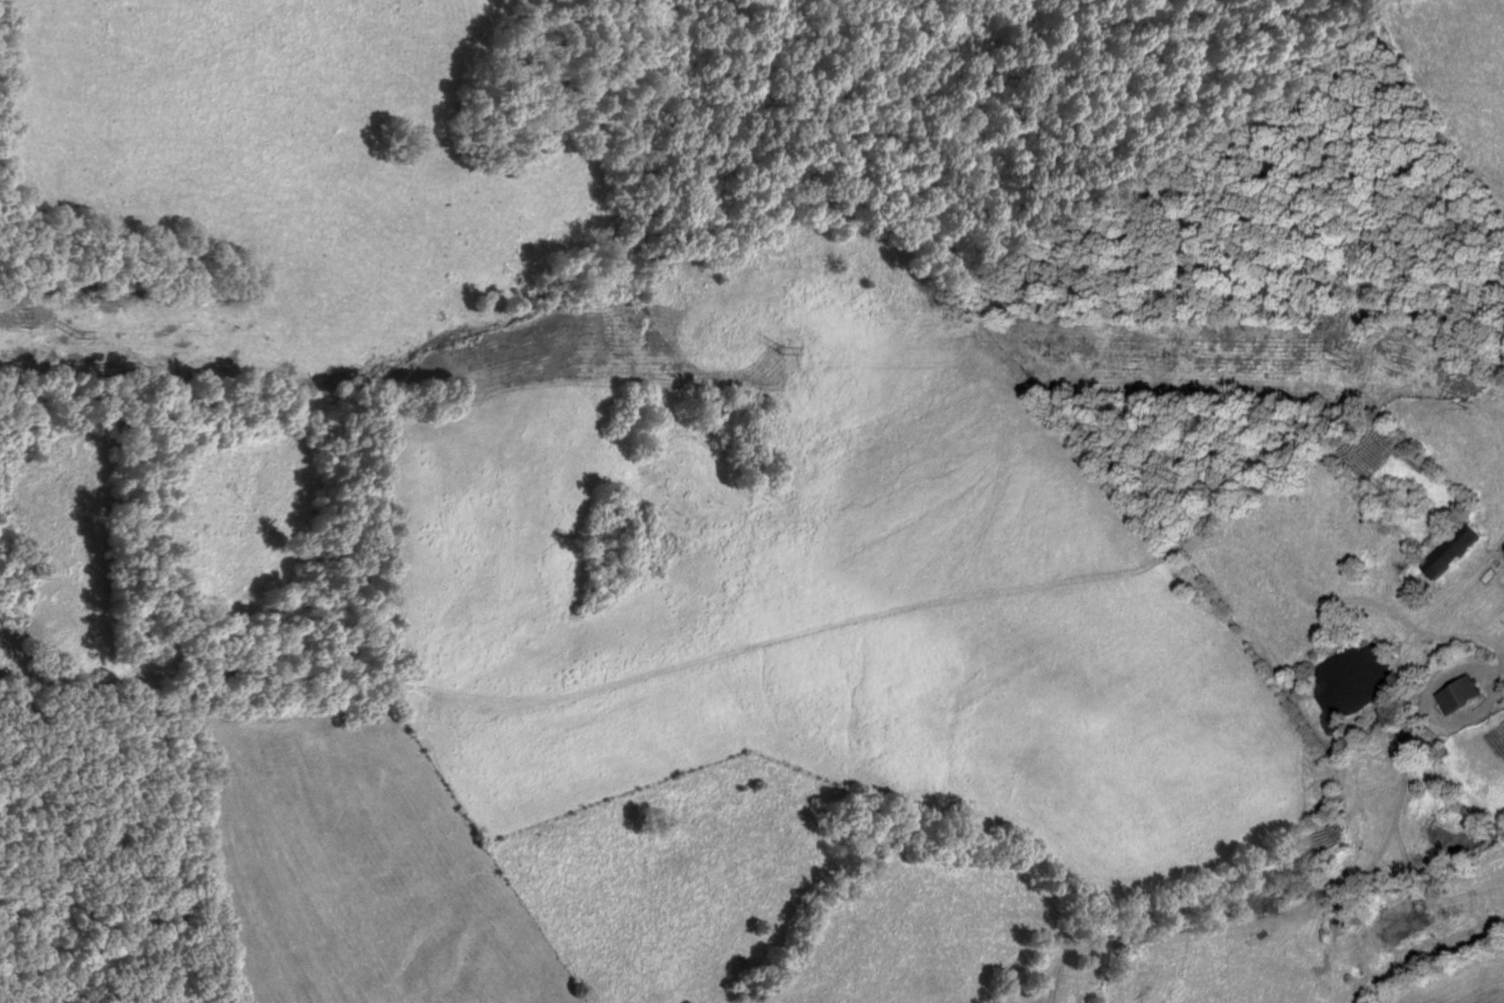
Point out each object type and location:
building: (1457, 550)
building: (1460, 695)

